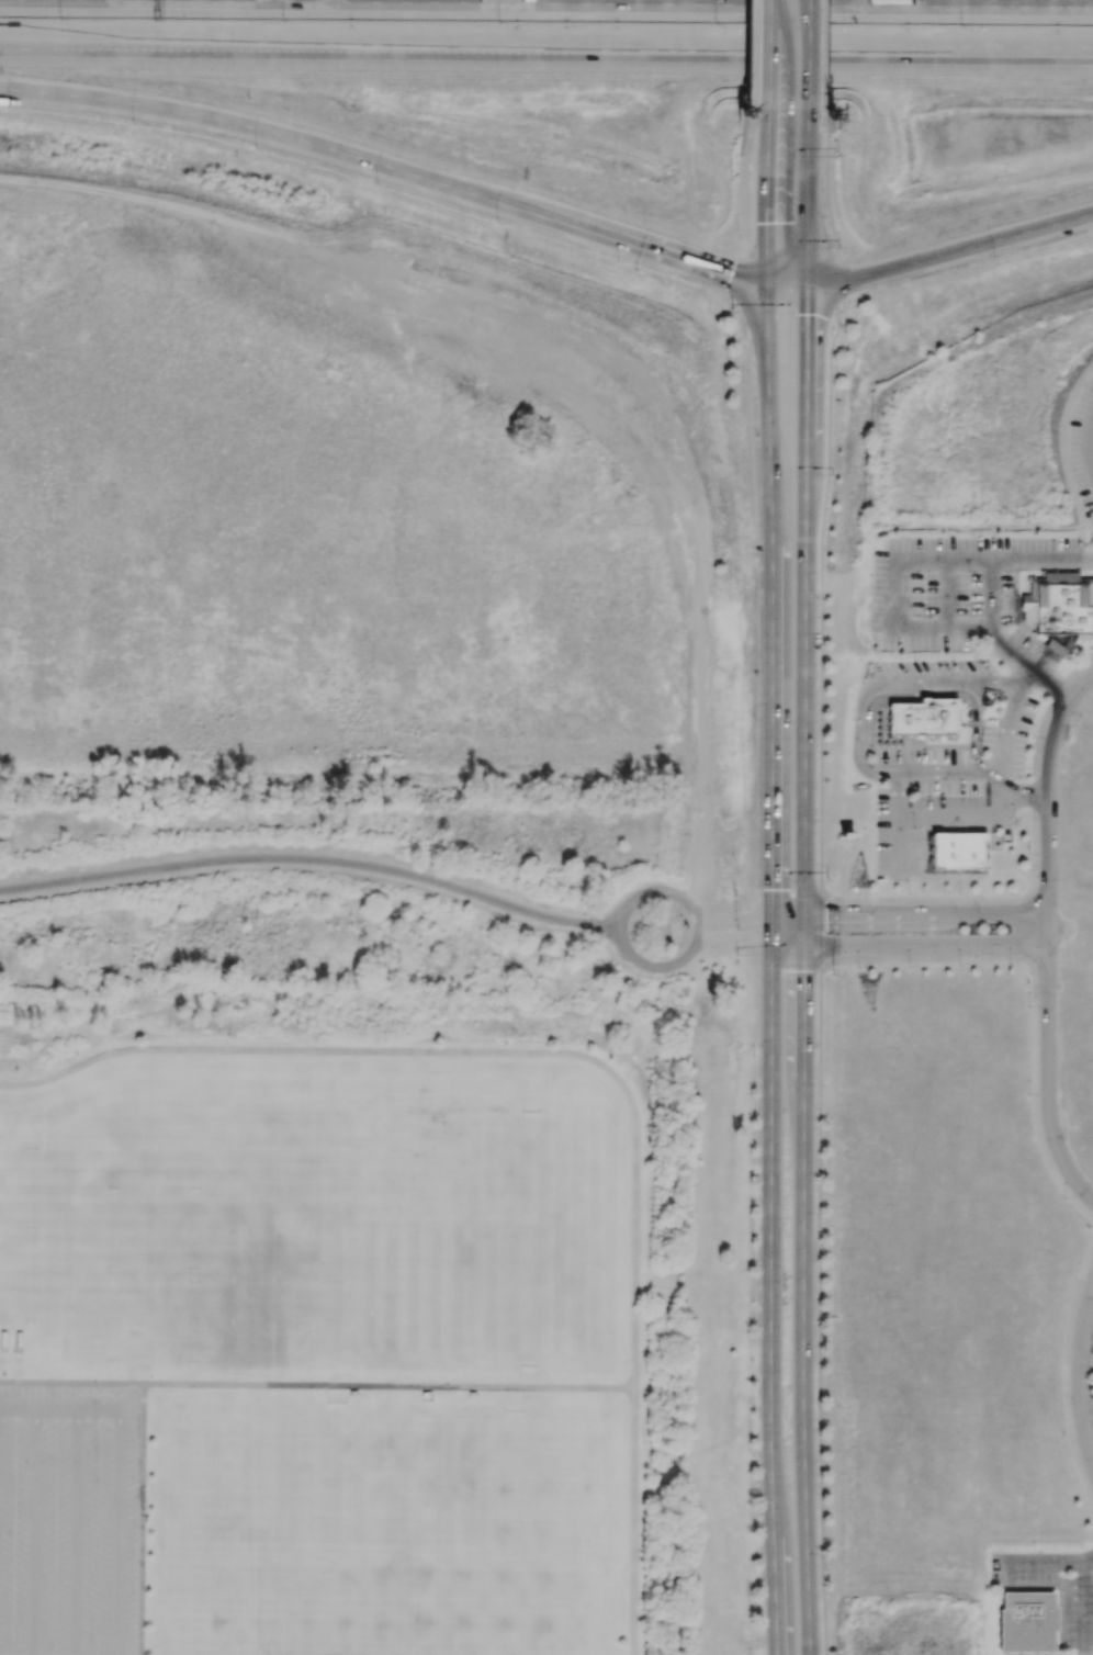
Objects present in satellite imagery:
road: (1015, 0)
street lamp: (59, 20)
road: (545, 50)
road: (805, 54)
road: (746, 55)
road: (765, 55)
road: (820, 55)
street lamp: (8, 110)
street lamp: (131, 123)
road: (268, 132)
road: (764, 193)
road: (826, 204)
traffic signals: (764, 223)
road: (740, 225)
road: (613, 238)
road: (978, 243)
road: (730, 275)
traffic signals: (730, 275)
road: (785, 279)
road: (834, 279)
road: (786, 301)
road: (746, 309)
traffic signals: (805, 313)
road: (815, 315)
road: (1089, 442)
parking lot: (1083, 448)
road: (1091, 458)
road: (804, 527)
road: (915, 561)
parking lot: (954, 590)
road: (947, 596)
road: (819, 597)
building: (1059, 609)
road: (770, 610)
road: (999, 646)
road: (992, 683)
road: (916, 688)
building: (920, 719)
parking lot: (945, 759)
road: (899, 774)
road: (1002, 791)
road: (1023, 797)
building: (956, 852)
road: (313, 859)
traffic signals: (770, 890)
road: (908, 915)
traffic signals: (824, 916)
road: (621, 920)
road: (732, 921)
road: (821, 932)
road: (1046, 938)
road: (733, 939)
traffic signals: (752, 939)
road: (908, 946)
traffic signals: (804, 971)
road: (466, 1051)
park: (13, 1182)
park: (82, 1183)
park: (171, 1184)
park: (325, 1224)
park: (515, 1227)
park: (12, 1284)
park: (81, 1284)
park: (170, 1285)
road: (770, 1299)
road: (803, 1301)
road: (820, 1313)
road: (1089, 1317)
road: (1085, 1362)
road: (1077, 1376)
parking lot: (1086, 1378)
road: (72, 1384)
road: (390, 1387)
road: (59, 1408)
road: (1085, 1408)
road: (1086, 1450)
road: (1090, 1453)
parking lot: (68, 1521)
road: (632, 1522)
road: (35, 1531)
road: (77, 1531)
road: (119, 1532)
park: (320, 1533)
park: (512, 1534)
road: (1049, 1562)
road: (1085, 1605)
parking lot: (1078, 1615)
building: (1027, 1623)

